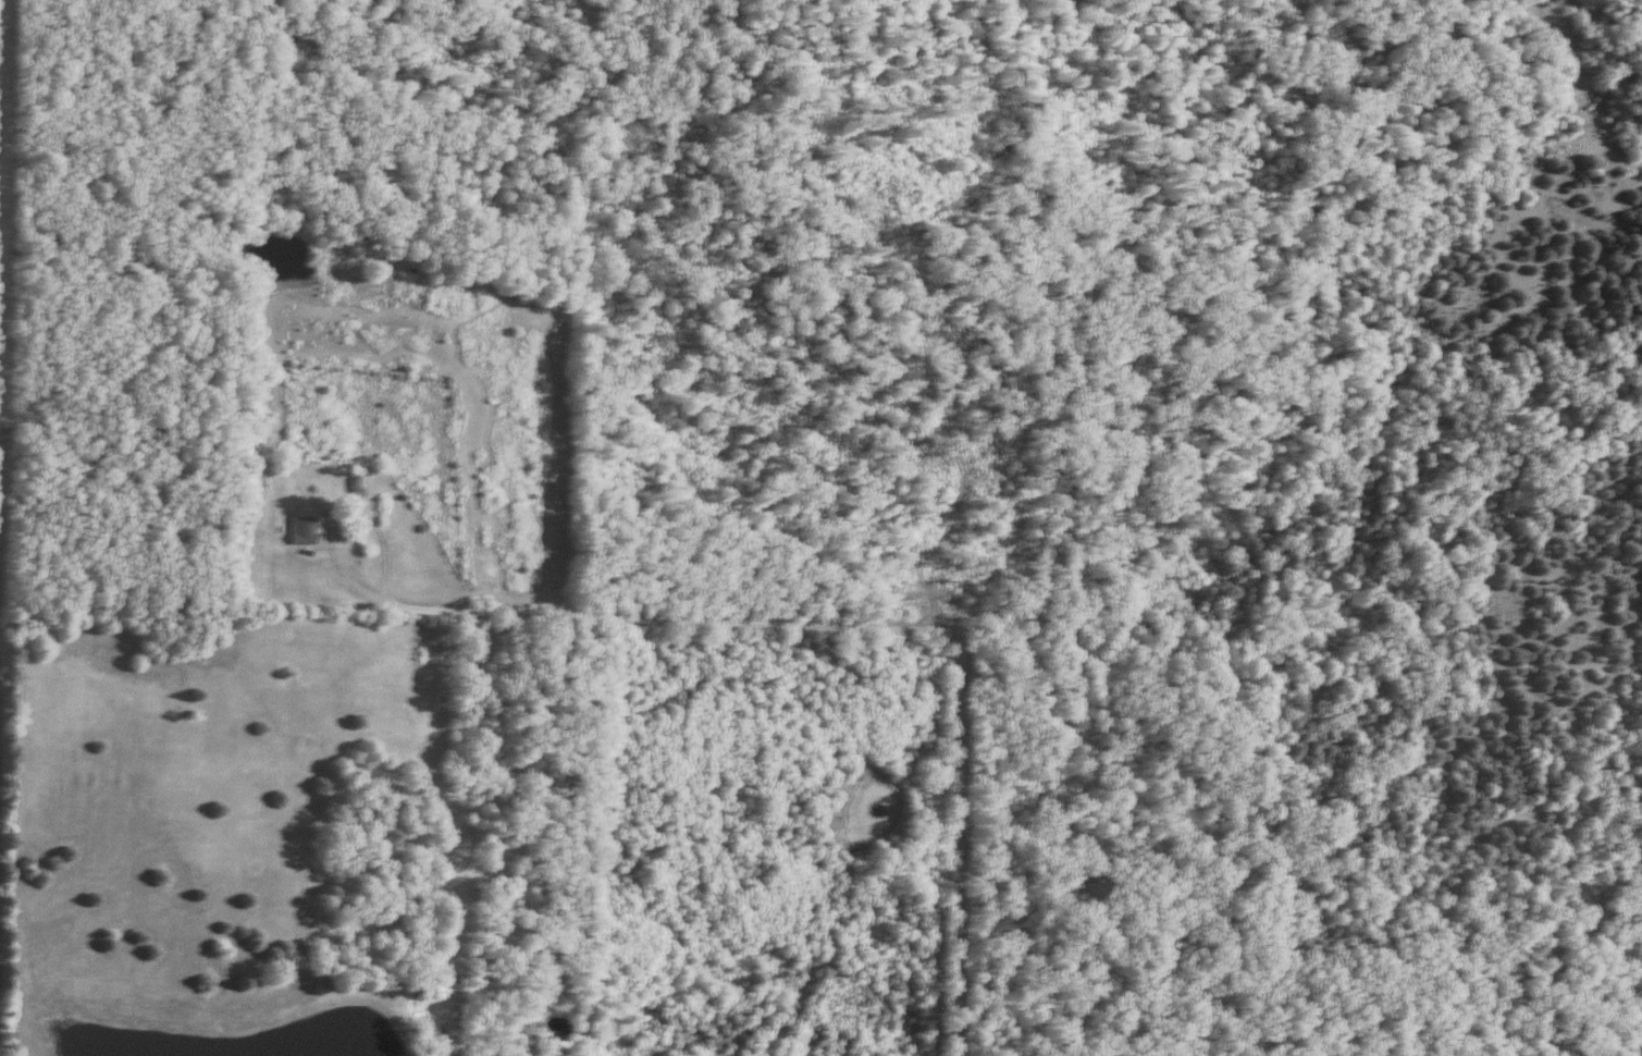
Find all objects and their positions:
building: (309, 528)
road: (856, 627)

